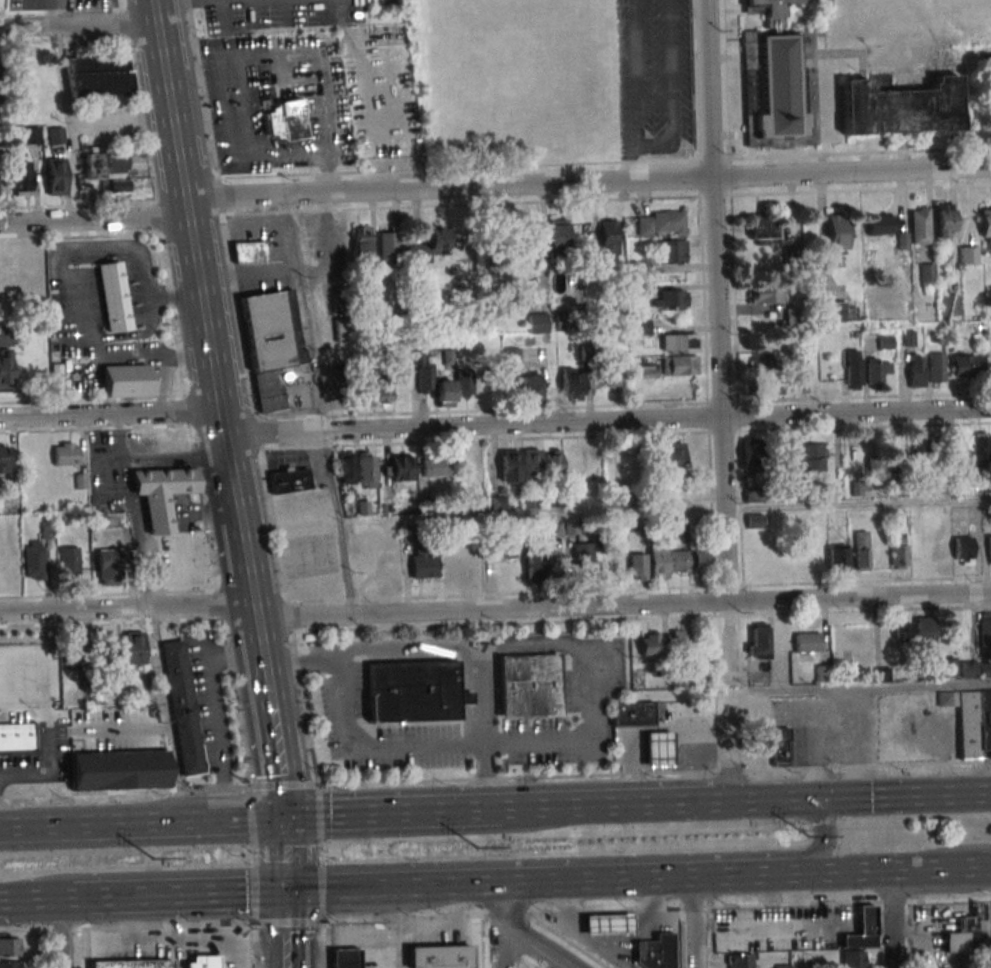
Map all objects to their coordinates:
road: (154, 0)
parking lot: (361, 9)
road: (23, 14)
parking lot: (263, 14)
road: (76, 24)
road: (314, 51)
road: (365, 66)
building: (98, 76)
building: (778, 80)
road: (670, 84)
road: (636, 93)
parking lot: (381, 106)
building: (901, 107)
road: (68, 110)
building: (286, 120)
parking lot: (235, 122)
building: (30, 135)
building: (56, 135)
road: (236, 147)
building: (118, 174)
building: (56, 176)
building: (21, 179)
road: (494, 188)
building: (943, 220)
building: (660, 223)
building: (881, 224)
building: (920, 225)
building: (985, 225)
building: (762, 229)
building: (556, 233)
building: (838, 234)
building: (608, 237)
building: (436, 238)
building: (531, 238)
building: (361, 242)
building: (388, 244)
building: (671, 251)
building: (248, 252)
building: (968, 255)
building: (927, 275)
road: (248, 279)
building: (766, 294)
building: (114, 296)
building: (671, 298)
building: (949, 305)
building: (833, 311)
building: (792, 316)
building: (537, 323)
building: (642, 323)
building: (343, 330)
building: (270, 343)
building: (678, 343)
road: (718, 343)
road: (211, 351)
building: (587, 353)
building: (6, 357)
building: (761, 361)
building: (679, 365)
building: (967, 367)
building: (936, 368)
building: (853, 369)
building: (647, 371)
building: (877, 371)
building: (915, 371)
building: (611, 375)
building: (128, 380)
building: (433, 383)
building: (463, 383)
building: (571, 383)
building: (801, 386)
building: (530, 388)
building: (771, 388)
building: (383, 391)
building: (364, 392)
road: (319, 404)
road: (110, 414)
road: (608, 422)
road: (118, 427)
building: (936, 446)
building: (961, 446)
building: (980, 448)
building: (898, 450)
building: (66, 453)
building: (793, 453)
building: (752, 454)
building: (674, 455)
road: (179, 457)
building: (813, 457)
building: (4, 458)
road: (114, 461)
building: (551, 461)
building: (520, 465)
building: (345, 467)
building: (435, 467)
building: (401, 468)
building: (366, 469)
building: (872, 476)
building: (289, 480)
building: (163, 494)
building: (754, 495)
building: (497, 502)
building: (478, 503)
road: (132, 510)
building: (901, 518)
building: (754, 521)
building: (554, 528)
building: (502, 548)
building: (987, 548)
building: (962, 550)
building: (582, 552)
building: (899, 552)
building: (941, 553)
building: (32, 560)
building: (68, 560)
building: (699, 560)
building: (837, 560)
building: (679, 561)
building: (422, 563)
building: (658, 563)
building: (534, 564)
building: (636, 565)
building: (108, 566)
road: (495, 610)
building: (984, 629)
building: (903, 631)
building: (923, 635)
building: (757, 641)
building: (807, 642)
building: (650, 643)
building: (683, 644)
building: (133, 647)
building: (73, 649)
building: (106, 649)
road: (303, 661)
building: (945, 667)
building: (975, 670)
building: (528, 685)
road: (870, 687)
building: (412, 692)
building: (182, 707)
road: (164, 714)
building: (631, 715)
building: (970, 720)
road: (159, 729)
road: (101, 730)
road: (49, 735)
building: (766, 736)
building: (19, 740)
road: (526, 742)
building: (655, 749)
road: (279, 760)
building: (118, 770)
road: (653, 773)
road: (280, 784)
road: (123, 791)
road: (847, 797)
traffic signals: (809, 799)
road: (618, 805)
road: (521, 809)
road: (317, 811)
road: (456, 811)
road: (248, 814)
road: (343, 815)
traffic signals: (283, 817)
road: (141, 821)
power tower: (809, 838)
power tower: (476, 850)
road: (319, 852)
road: (952, 853)
road: (283, 854)
road: (251, 855)
road: (592, 860)
power tower: (153, 861)
road: (990, 866)
road: (940, 868)
road: (838, 872)
road: (320, 878)
road: (642, 878)
road: (409, 887)
road: (302, 891)
traffic signals: (284, 892)
road: (191, 894)
road: (253, 894)
road: (87, 897)
road: (67, 898)
road: (29, 899)
road: (320, 906)
road: (495, 914)
road: (892, 919)
road: (697, 922)
road: (499, 925)
building: (606, 925)
road: (398, 928)
road: (285, 929)
building: (862, 929)
road: (176, 931)
road: (60, 932)
building: (962, 936)
road: (321, 944)
road: (254, 945)
road: (535, 945)
building: (10, 947)
building: (653, 952)
building: (345, 957)
building: (440, 957)
building: (852, 959)
building: (740, 960)
building: (202, 961)
building: (131, 963)
building: (11, 964)

